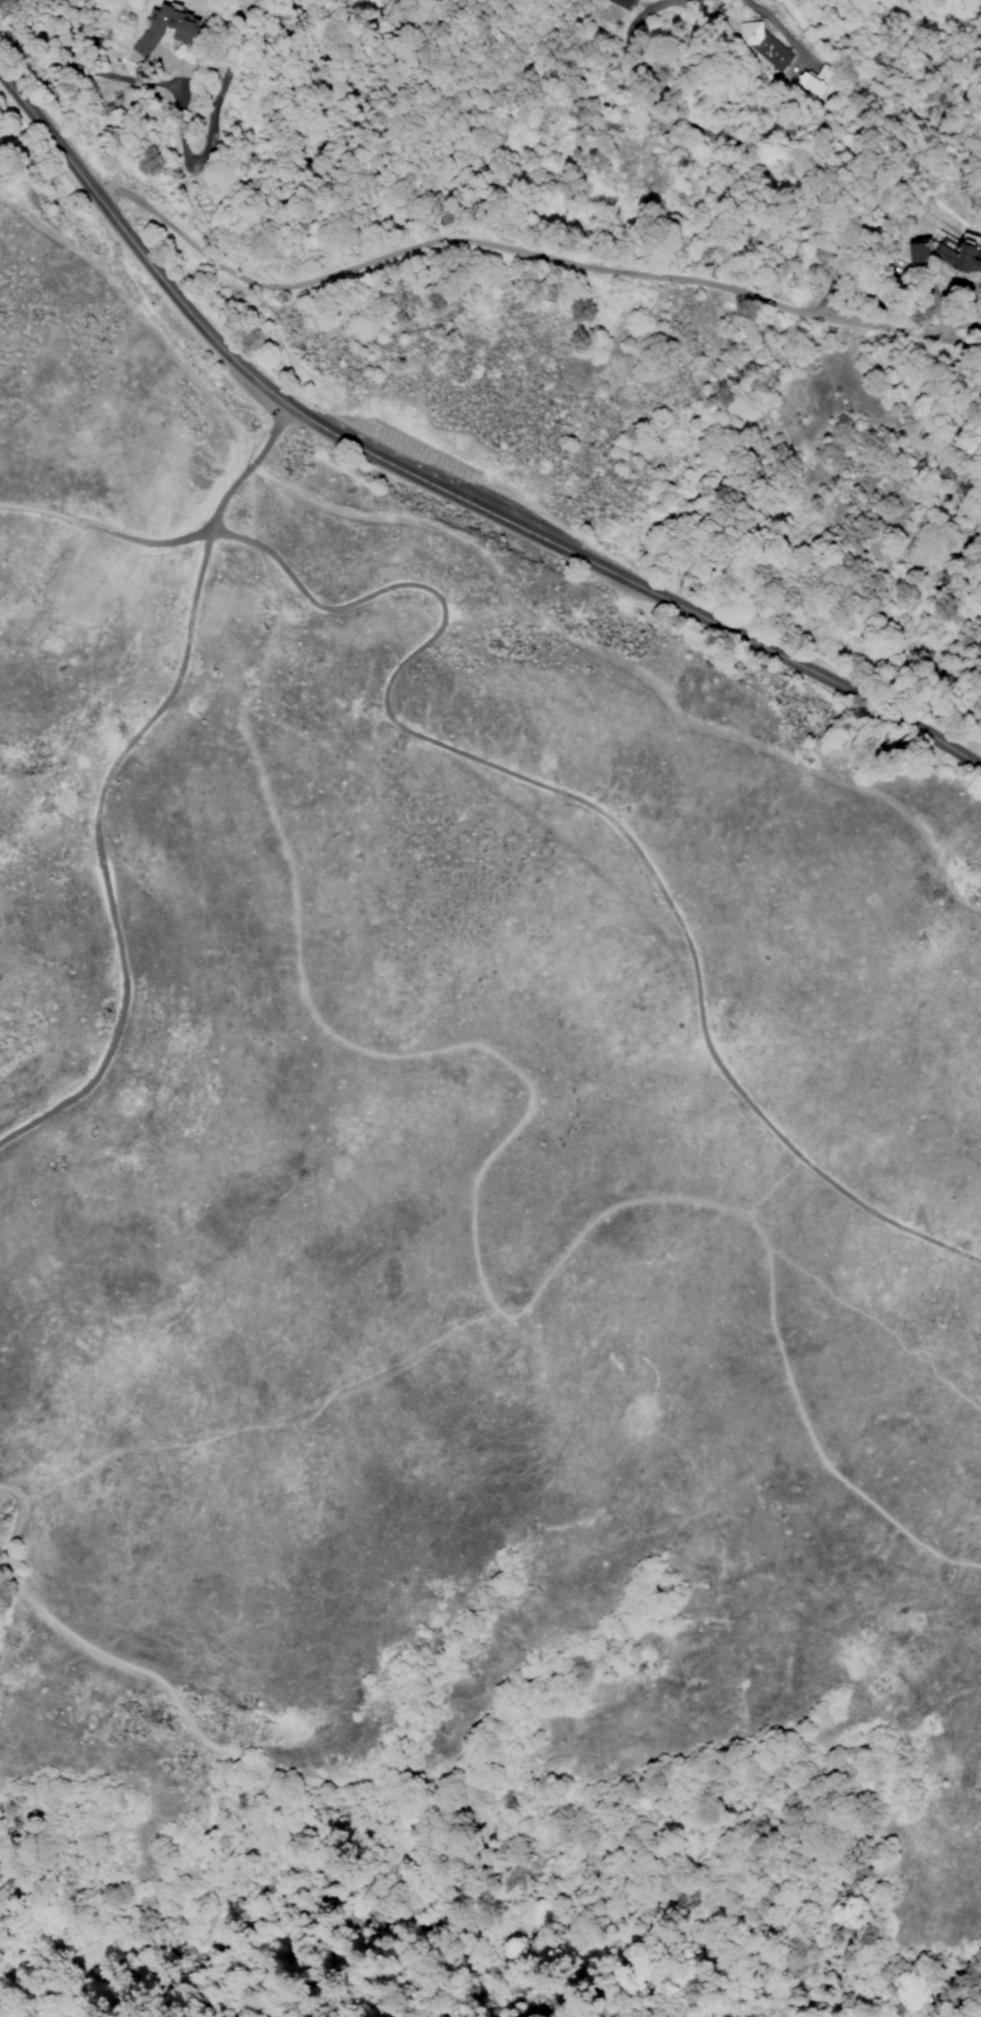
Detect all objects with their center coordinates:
building: (620, 3)
building: (166, 26)
building: (763, 45)
building: (812, 82)
road: (180, 131)
road: (502, 248)
building: (956, 251)
road: (966, 341)
road: (274, 343)
parking lot: (439, 466)
road: (437, 488)
road: (243, 512)
road: (100, 522)
road: (223, 546)
road: (101, 779)
road: (605, 814)
road: (475, 1204)
road: (270, 1766)
road: (377, 1991)
road: (427, 1992)

